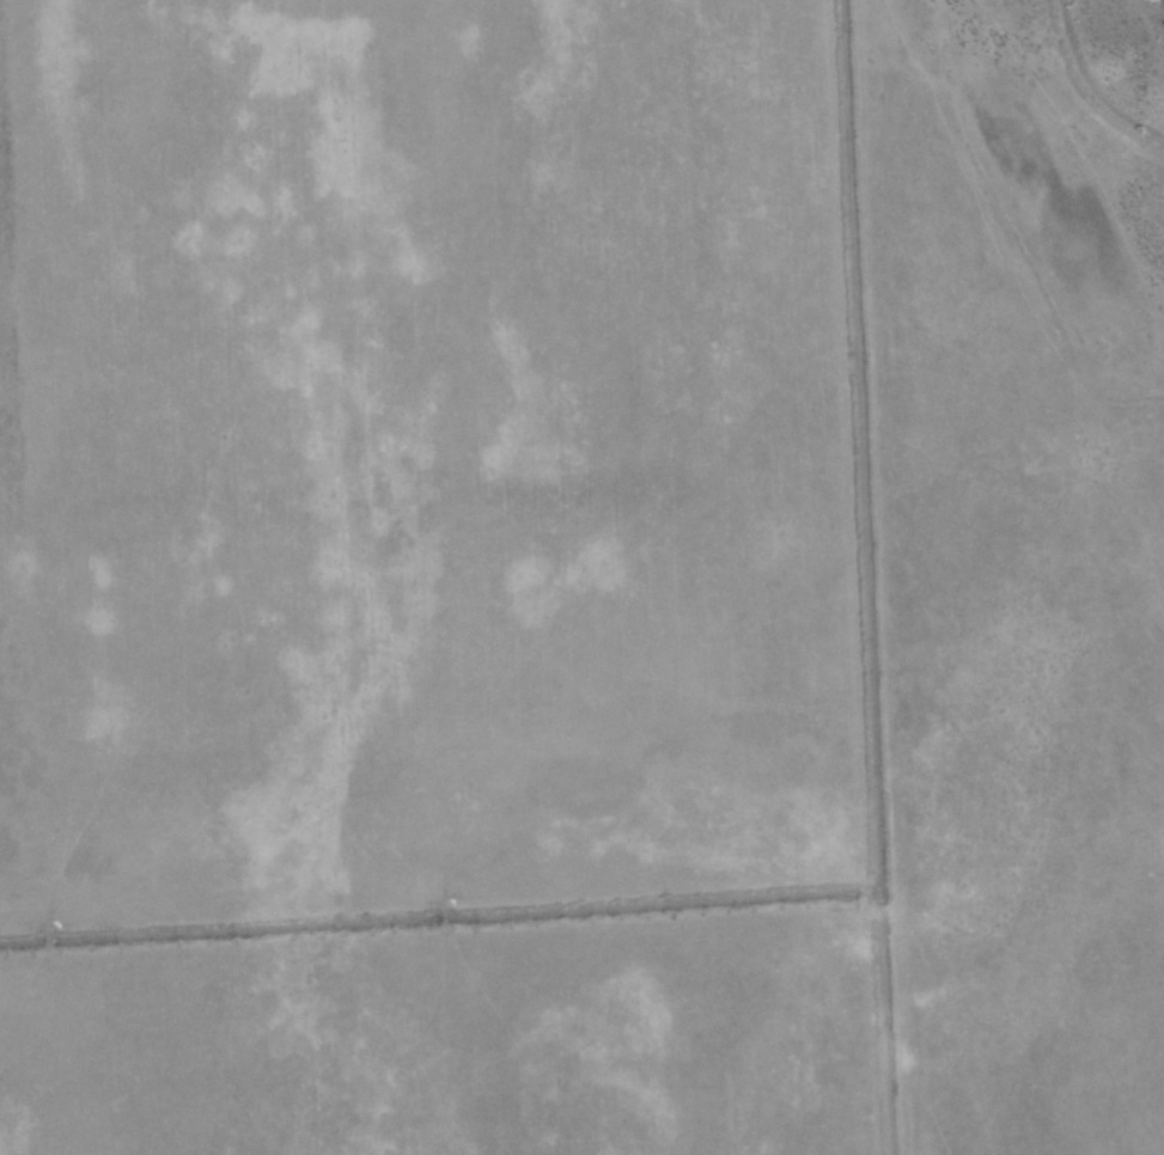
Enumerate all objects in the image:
road: (1146, 30)

